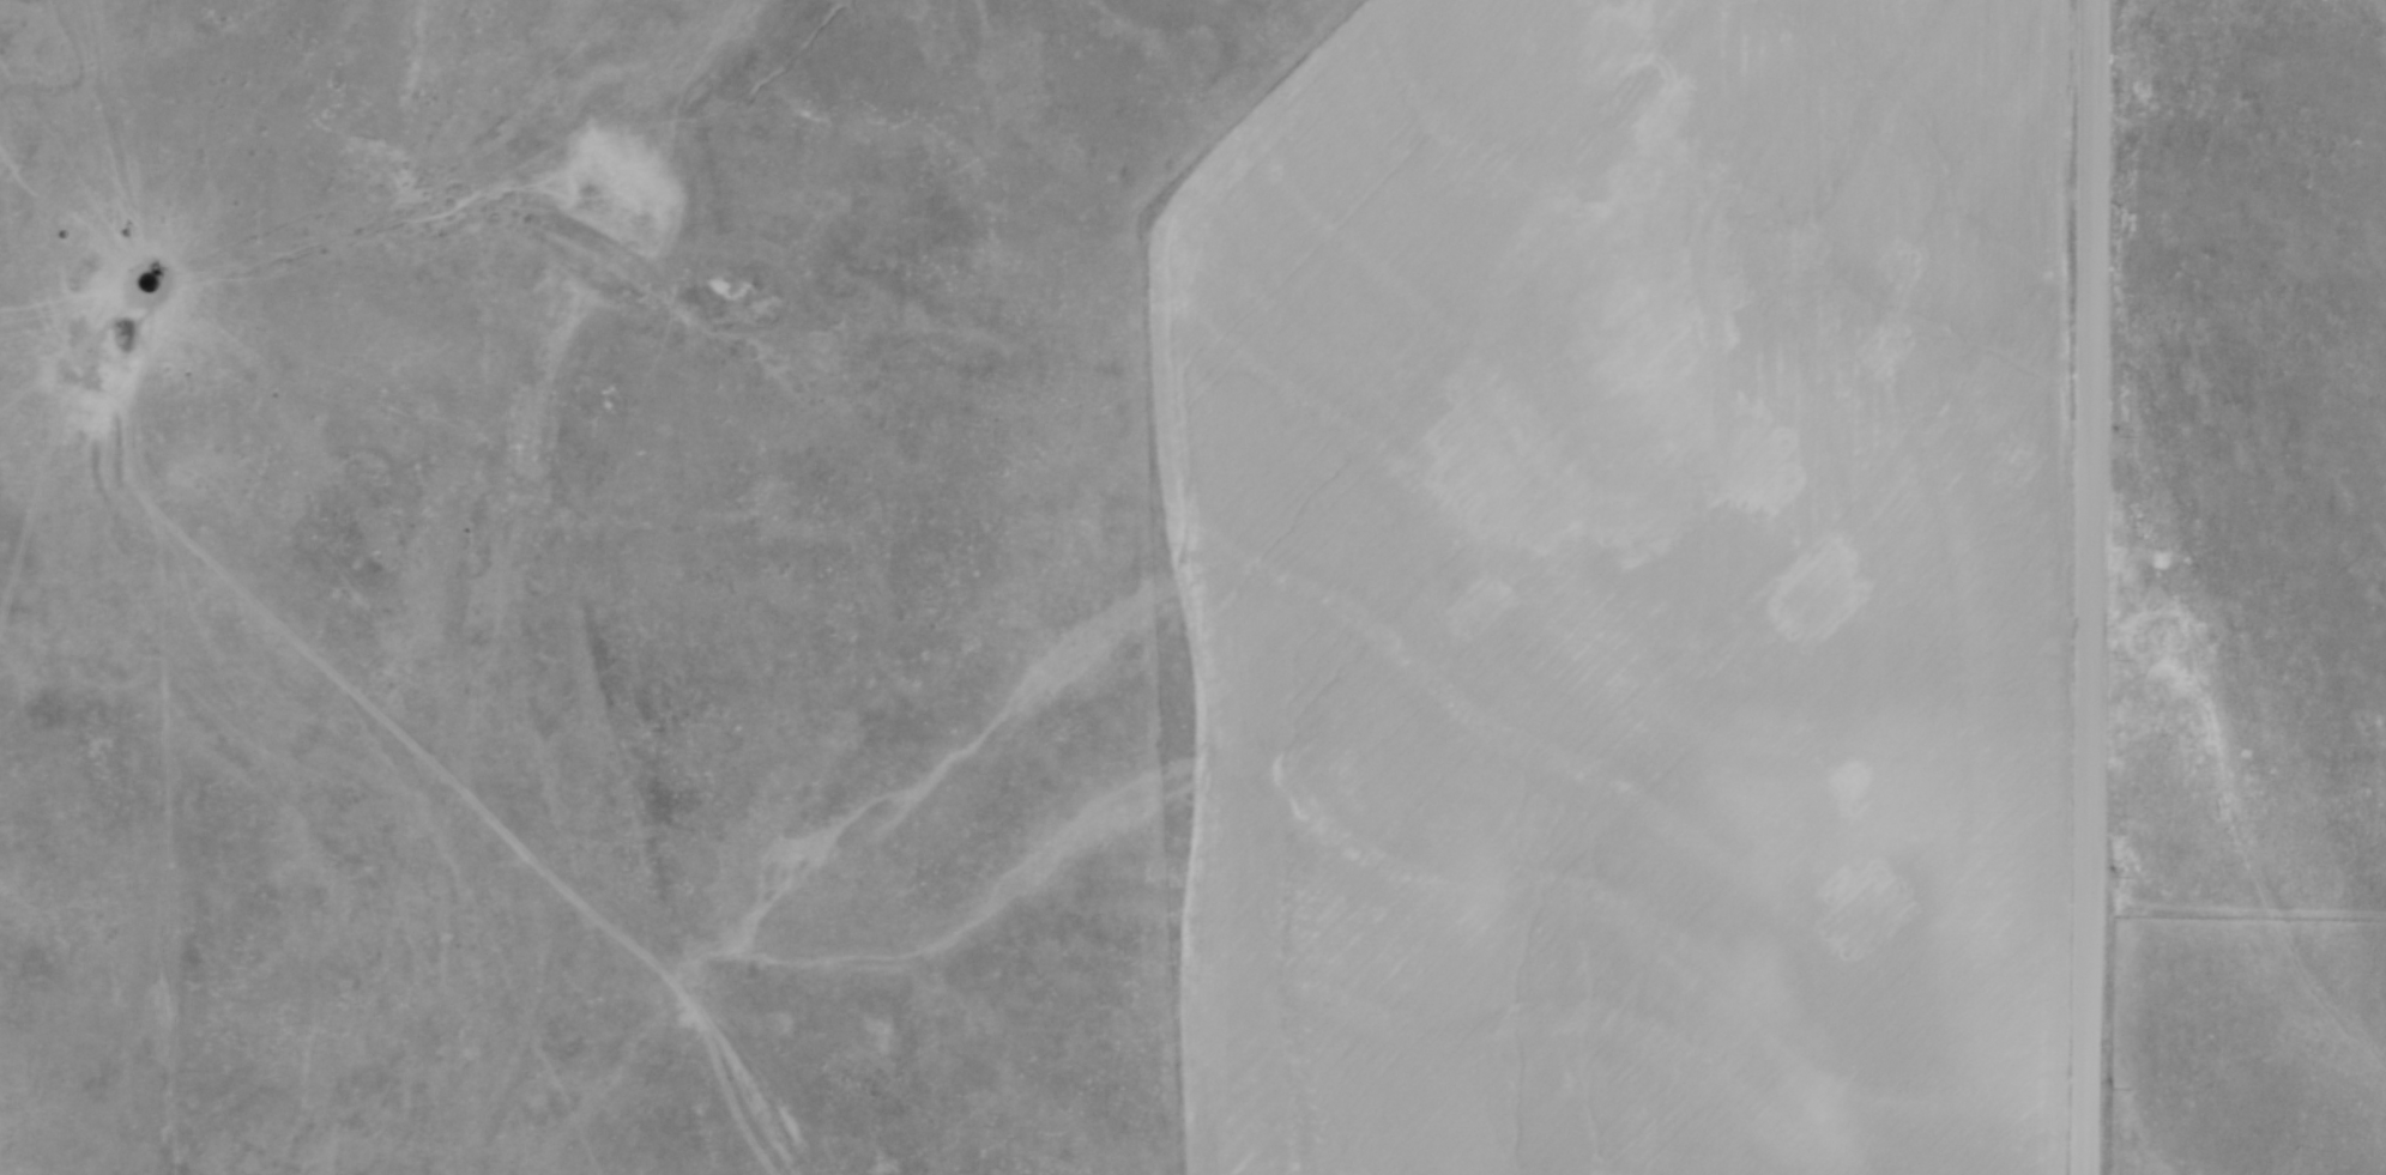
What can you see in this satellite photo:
road: (2089, 587)

